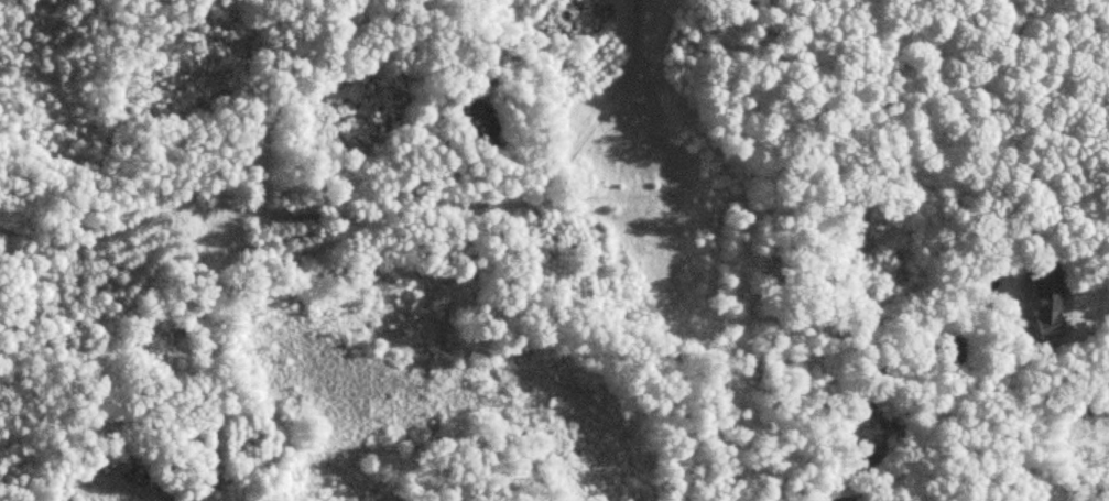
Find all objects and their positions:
building: (1102, 284)

